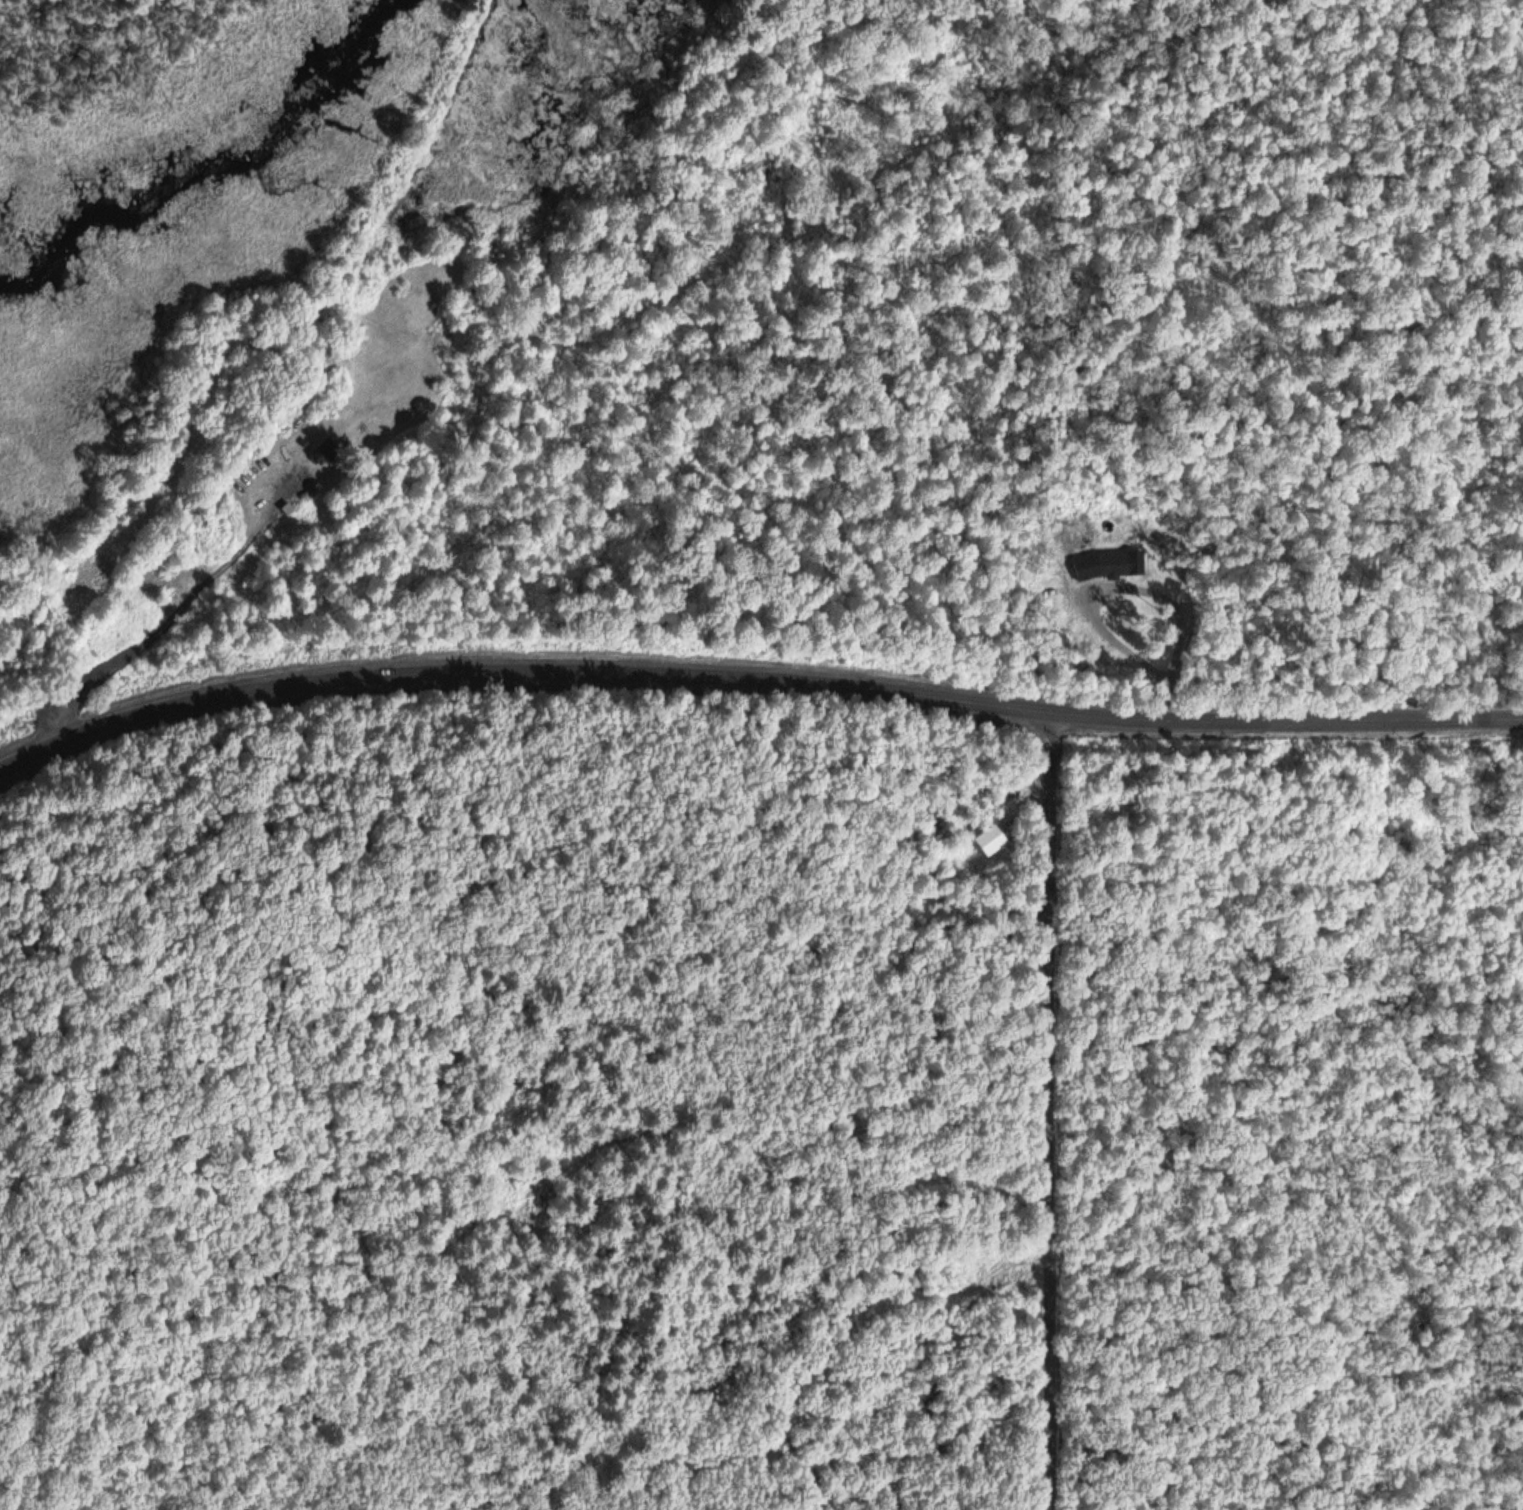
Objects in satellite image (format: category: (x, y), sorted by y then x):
building: (331, 452)
building: (1112, 562)
road: (172, 618)
road: (756, 668)
building: (989, 838)
road: (1049, 1111)

